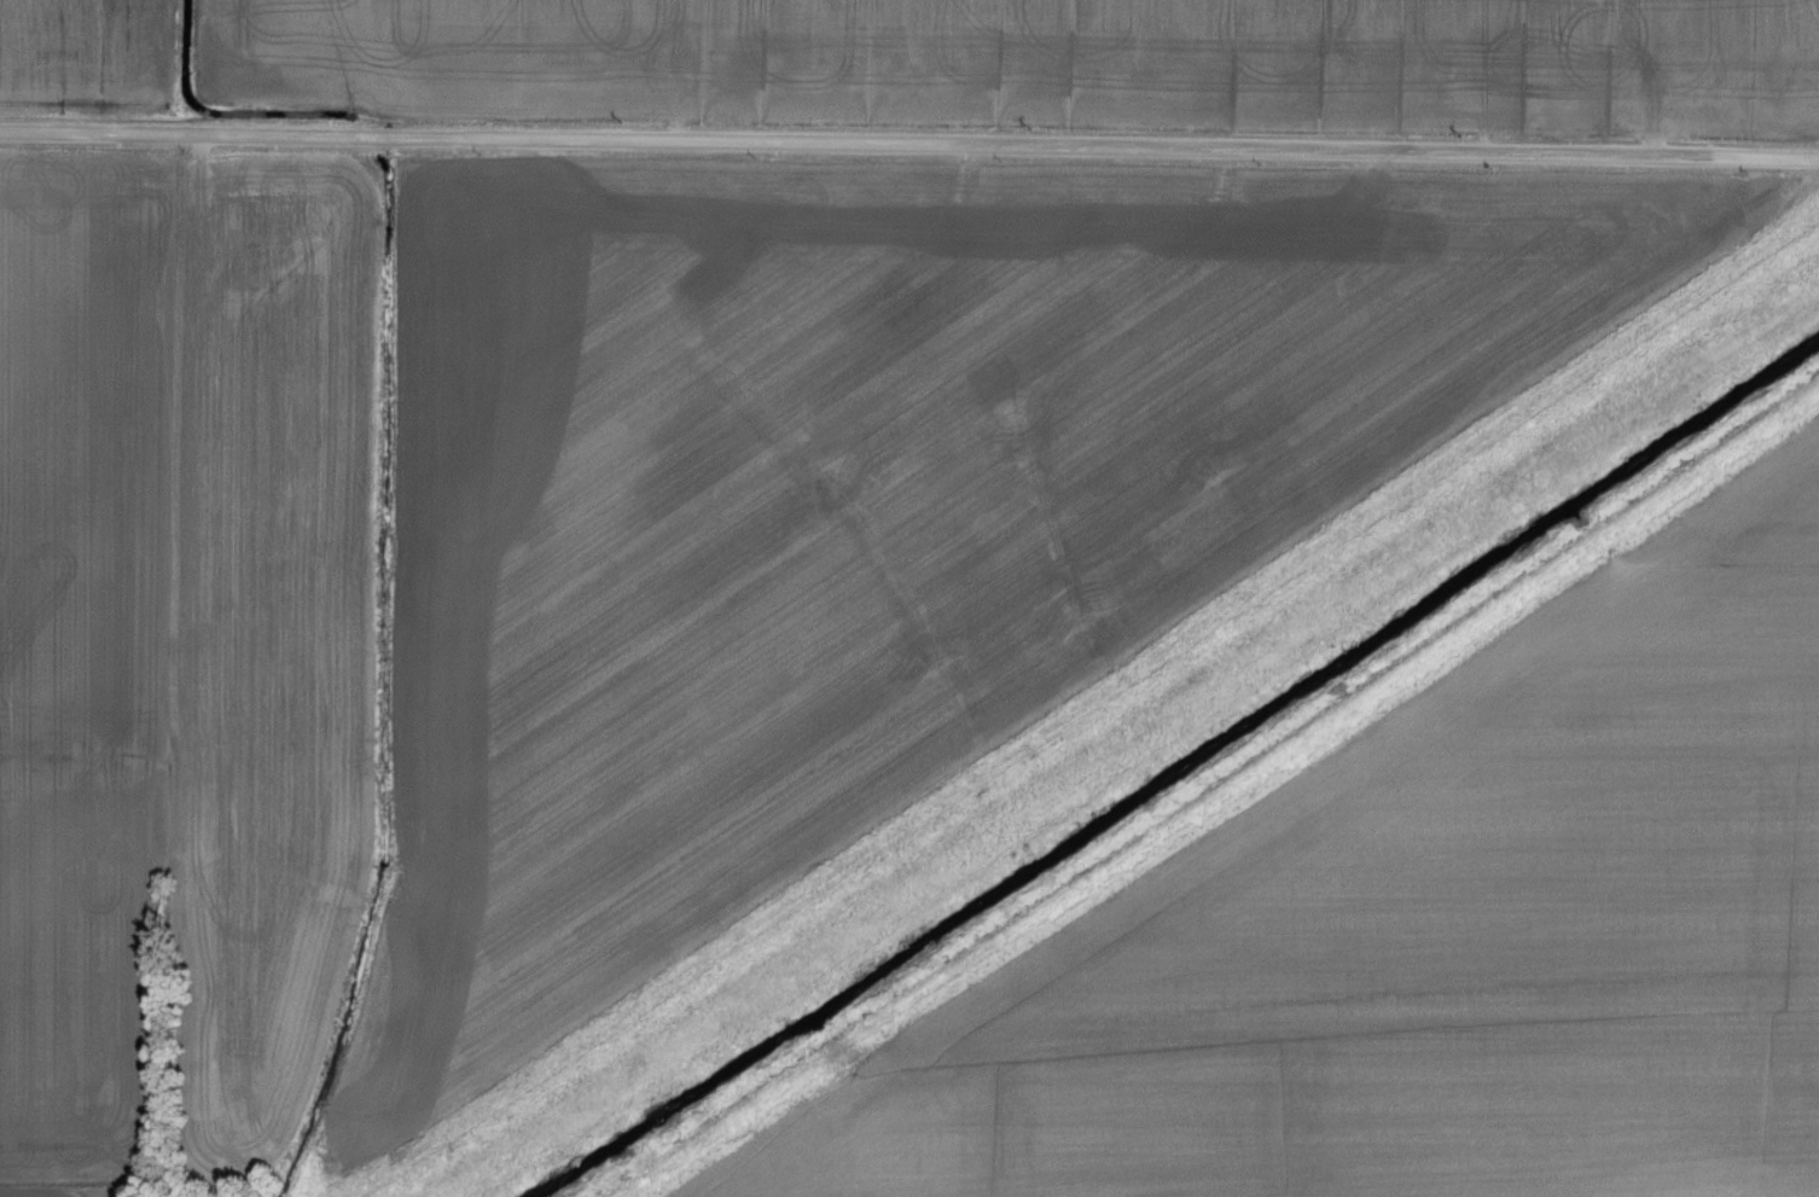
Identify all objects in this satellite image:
road: (908, 144)

